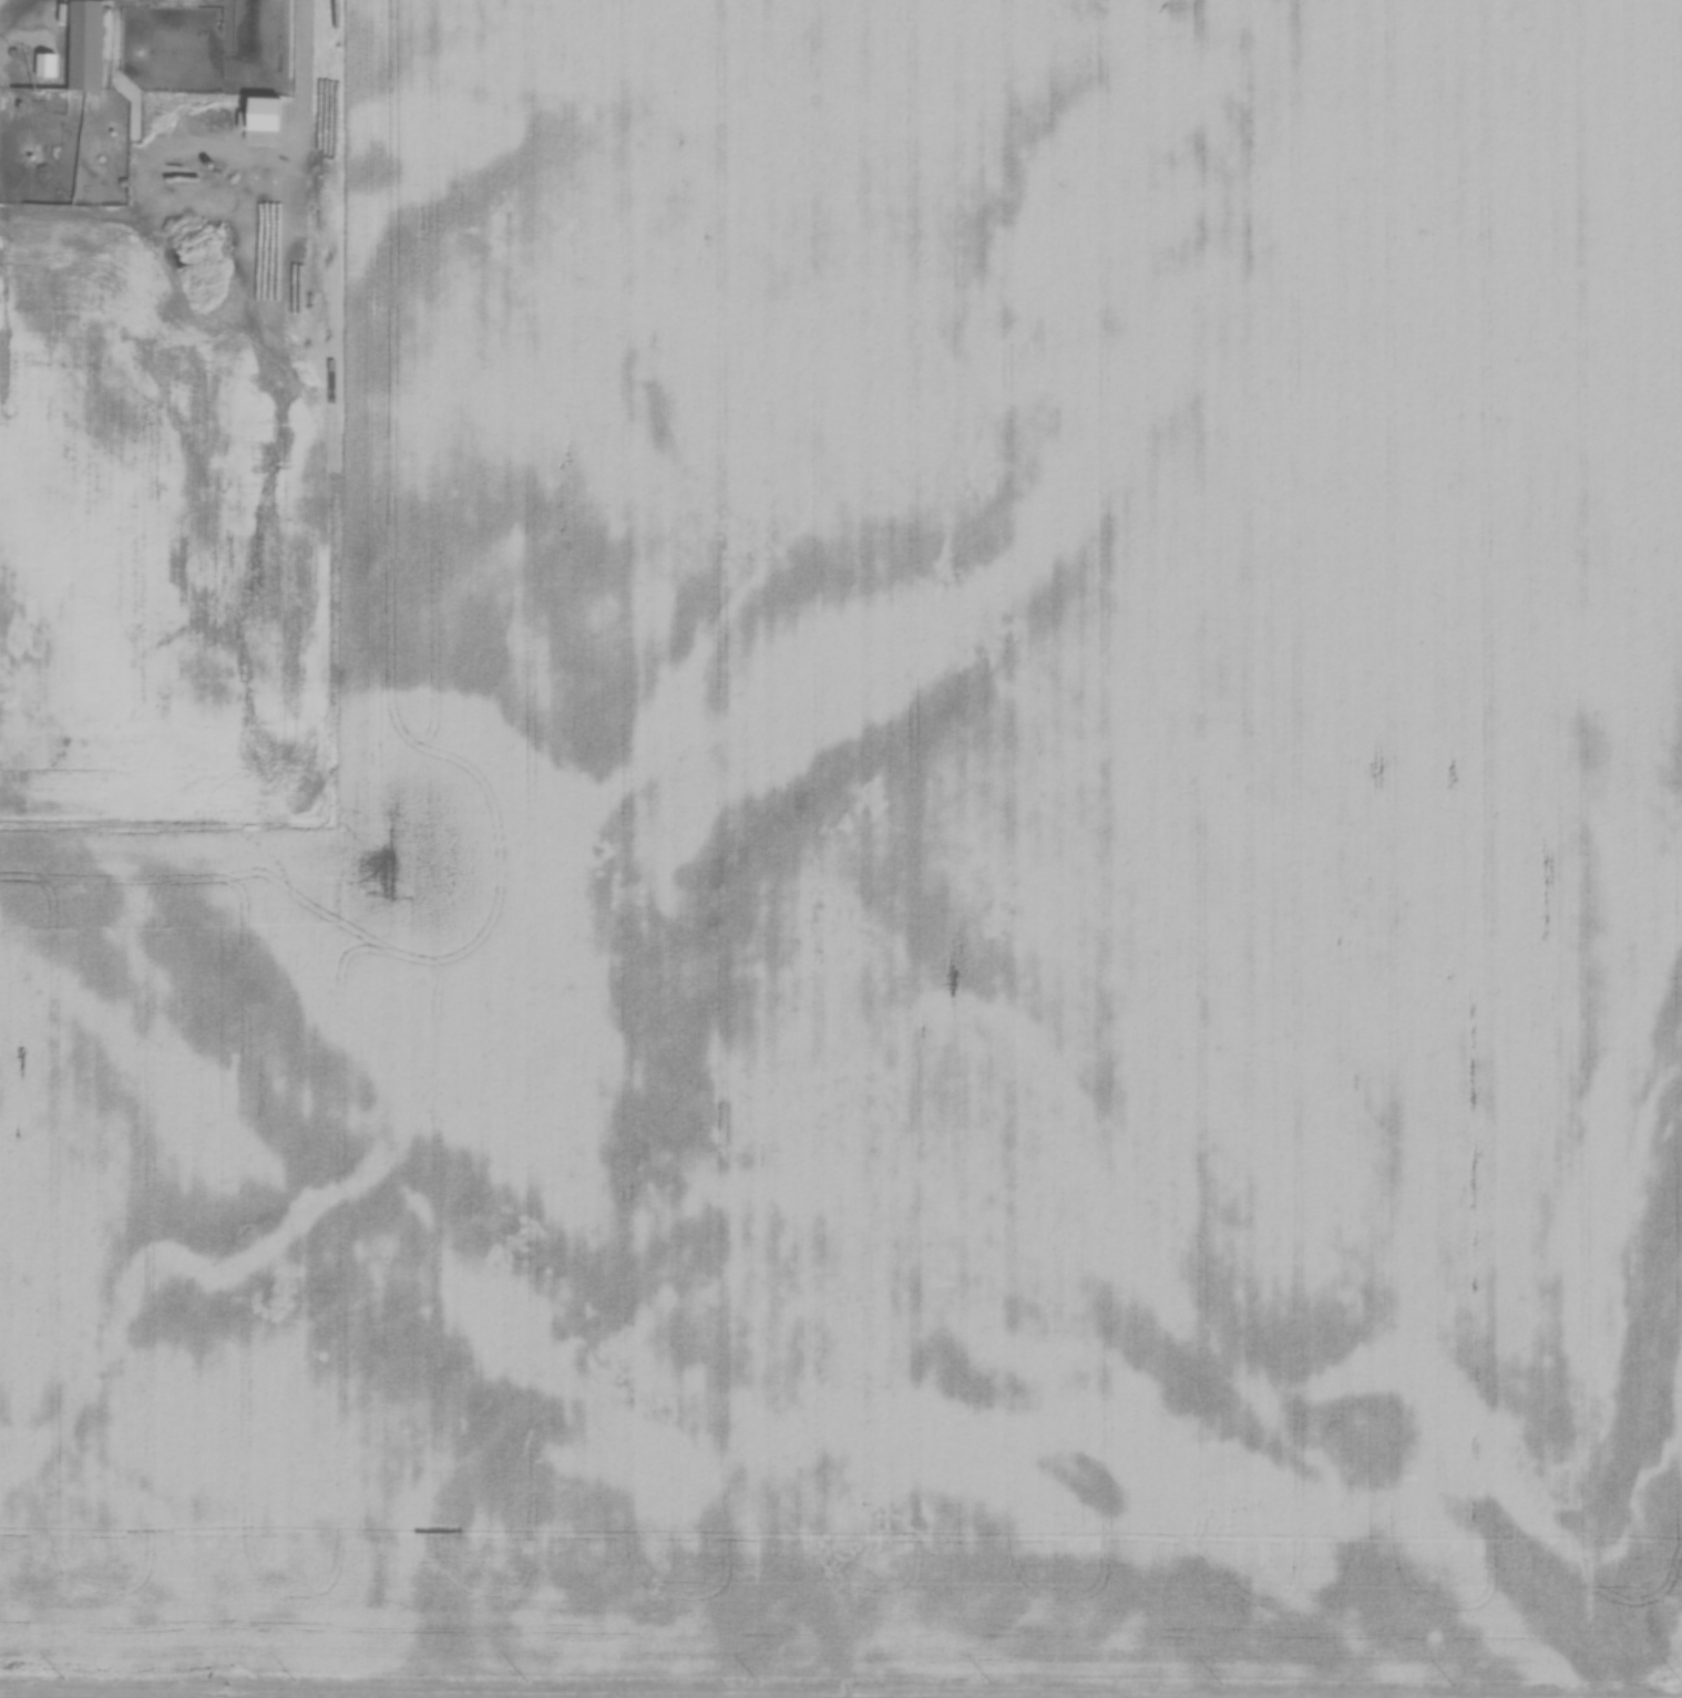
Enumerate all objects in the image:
building: (84, 47)
building: (44, 62)
building: (264, 111)
crop: (920, 876)
road: (849, 1690)

